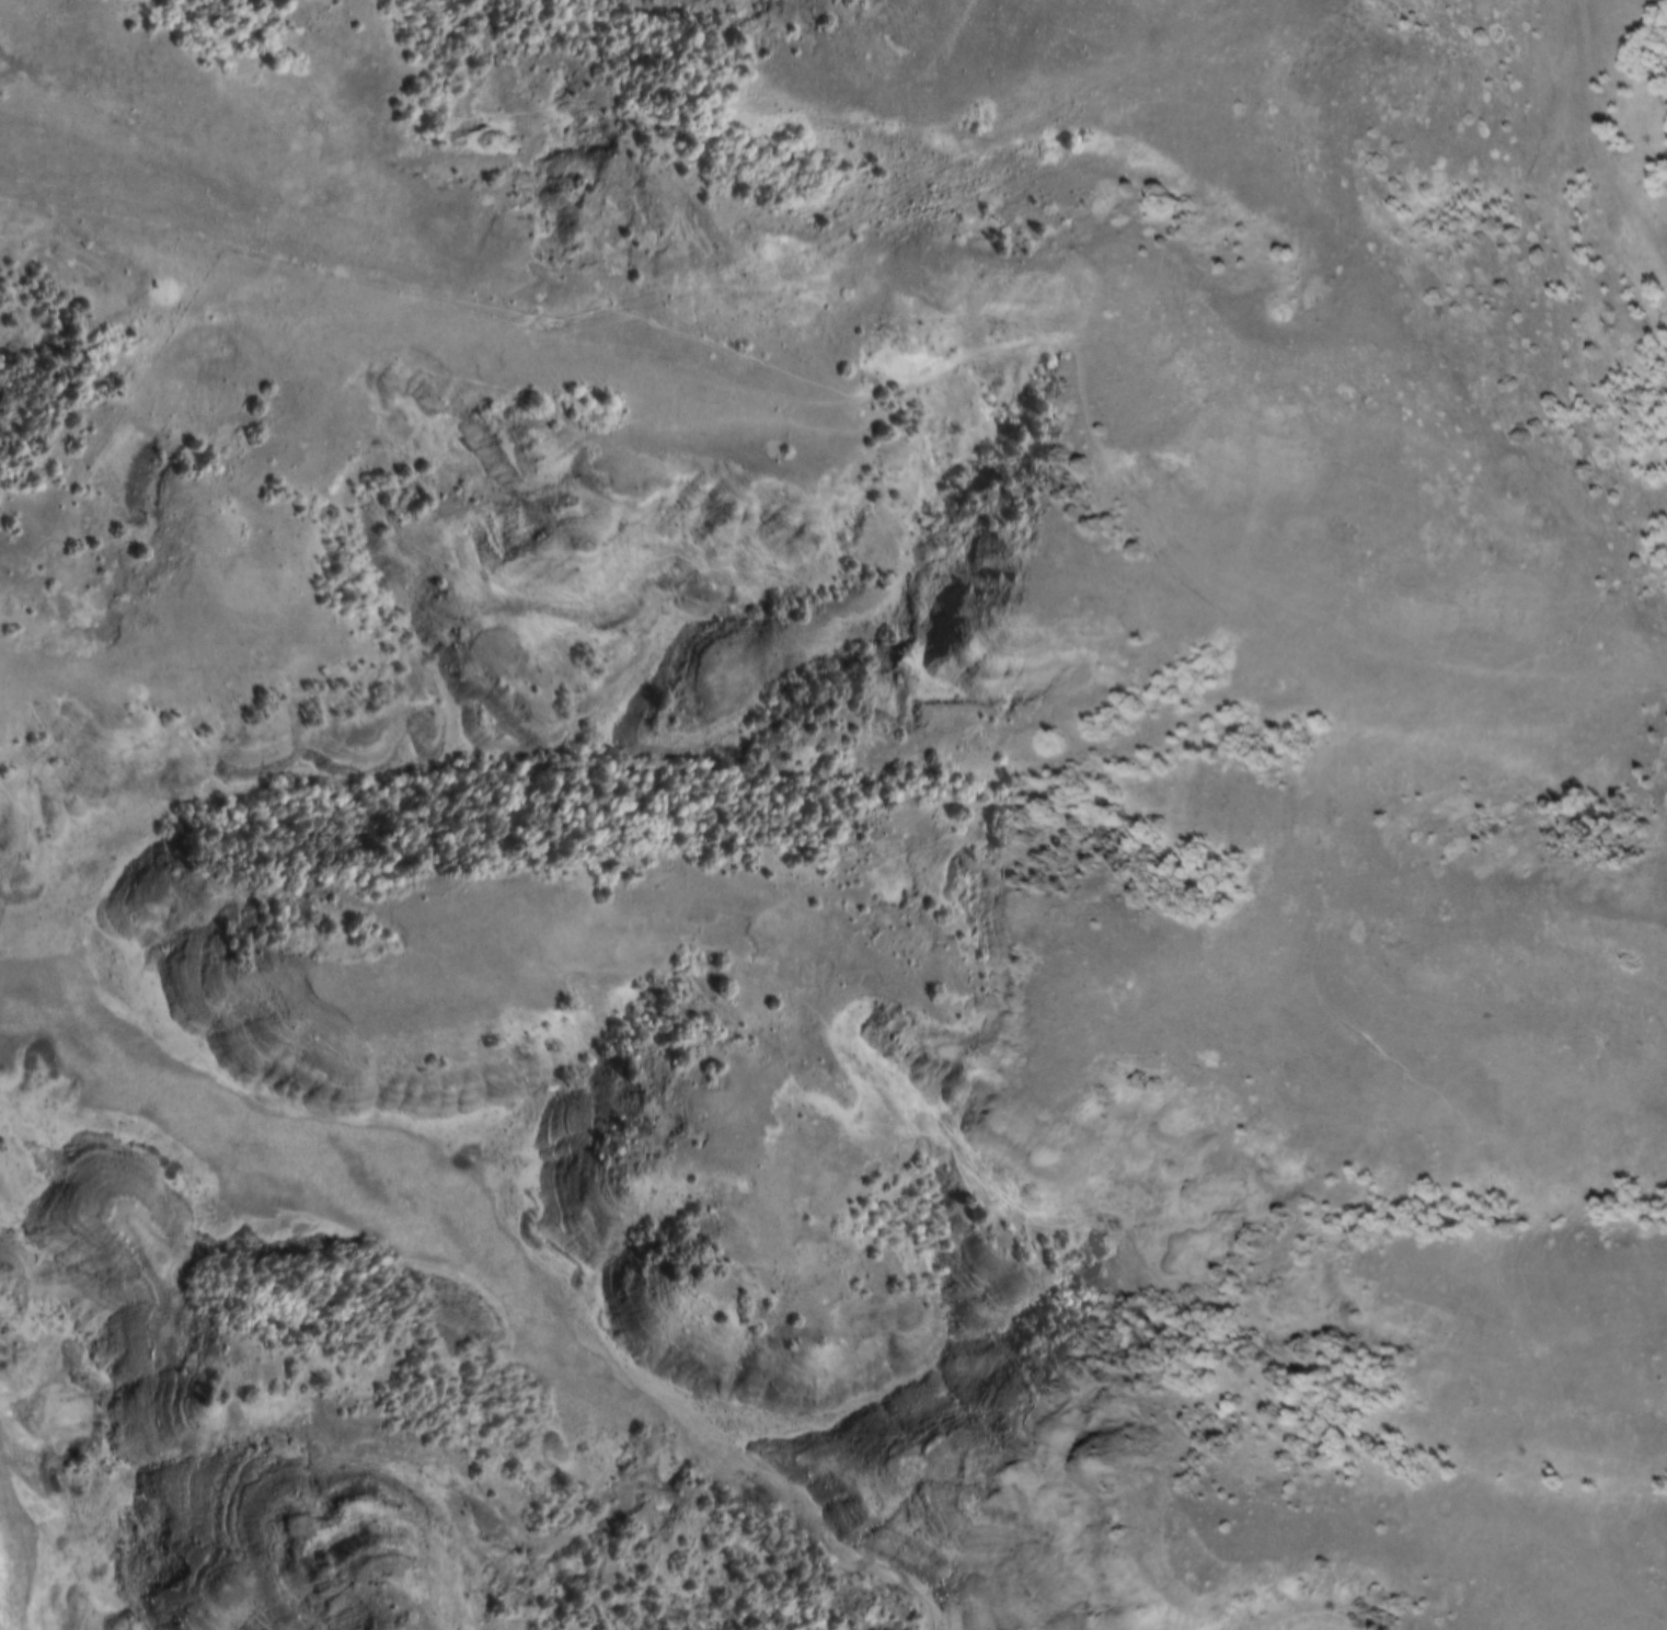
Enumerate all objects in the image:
road: (1598, 134)

